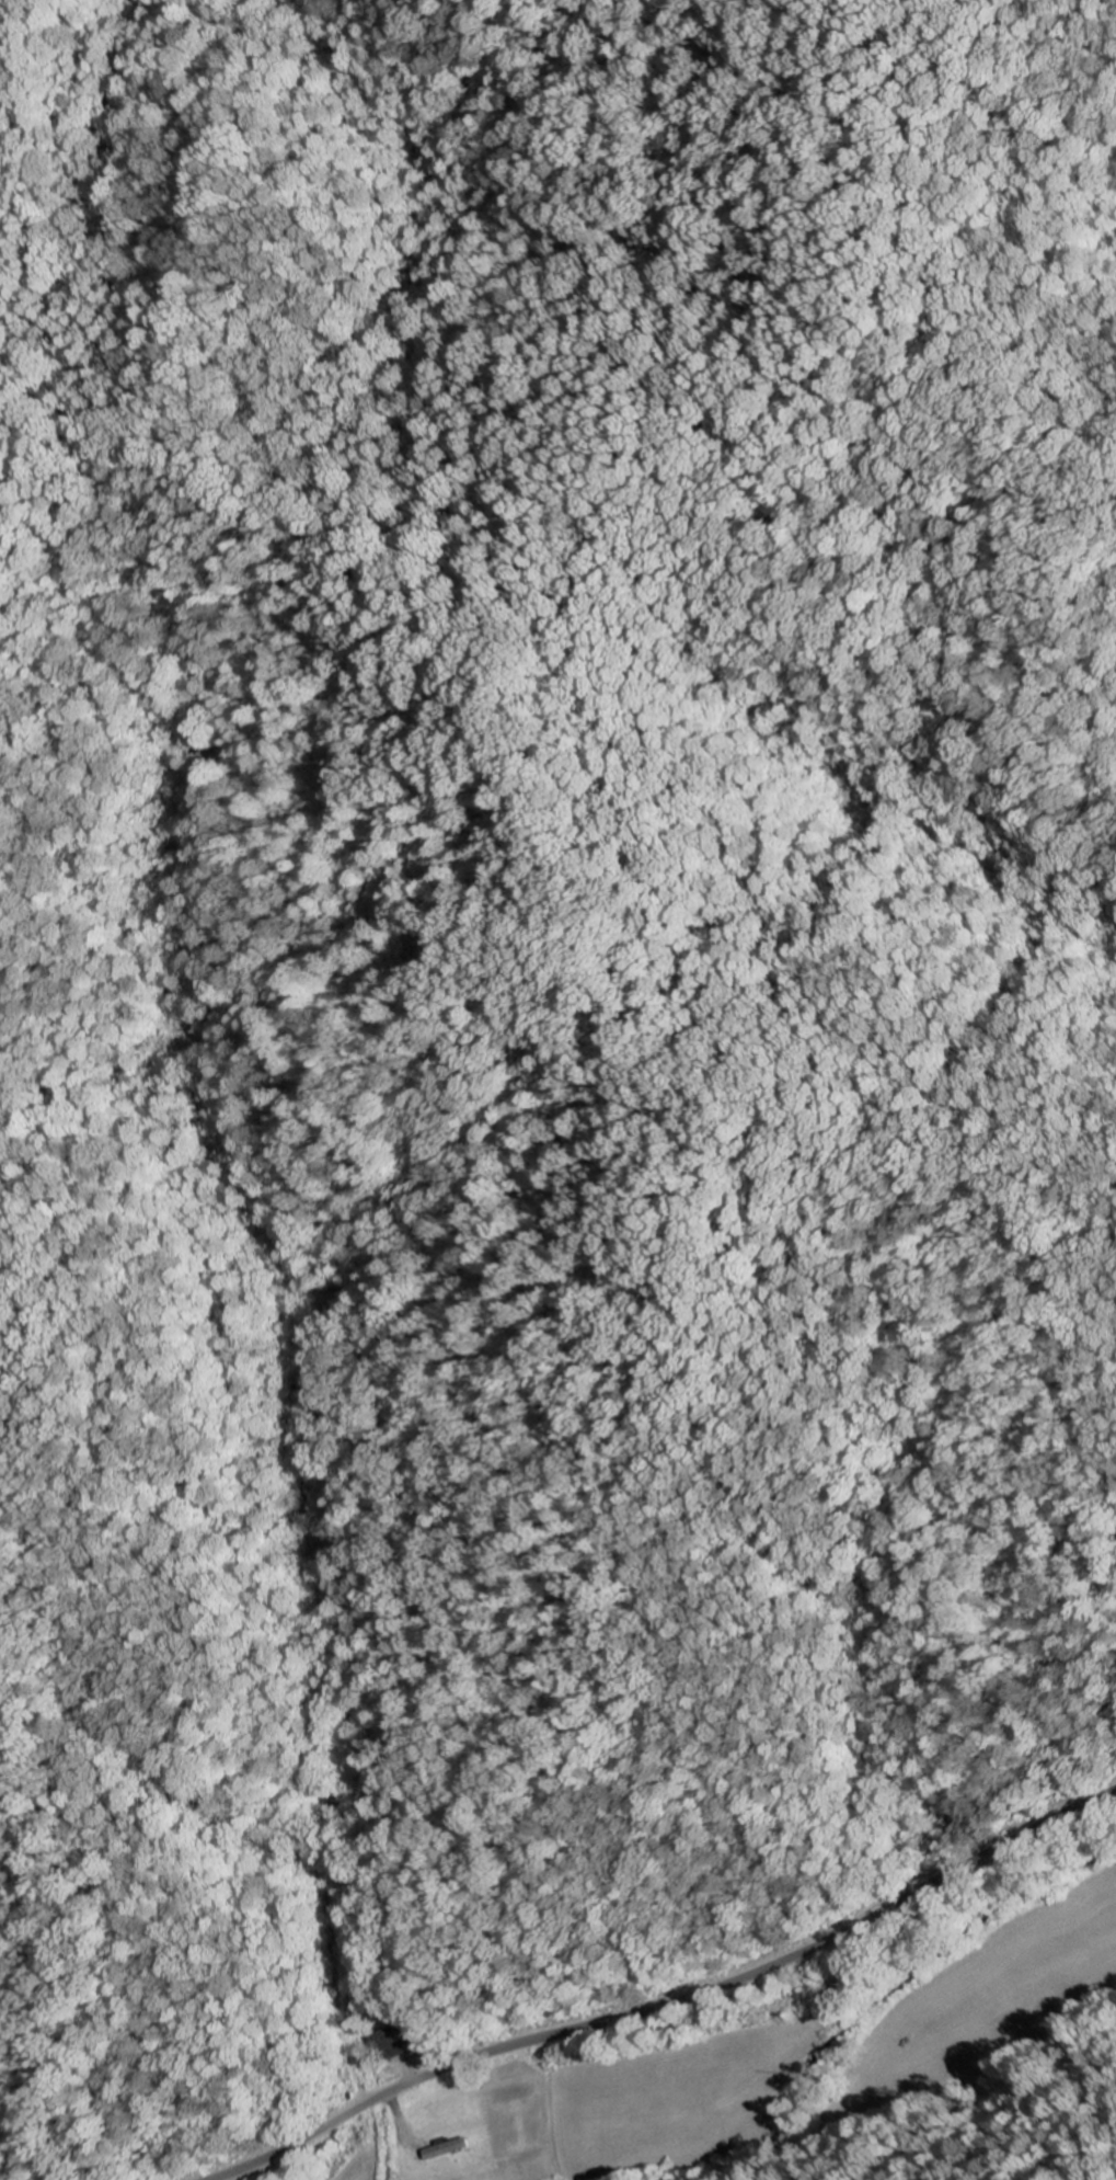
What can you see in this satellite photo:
road: (813, 1818)
road: (669, 2004)

